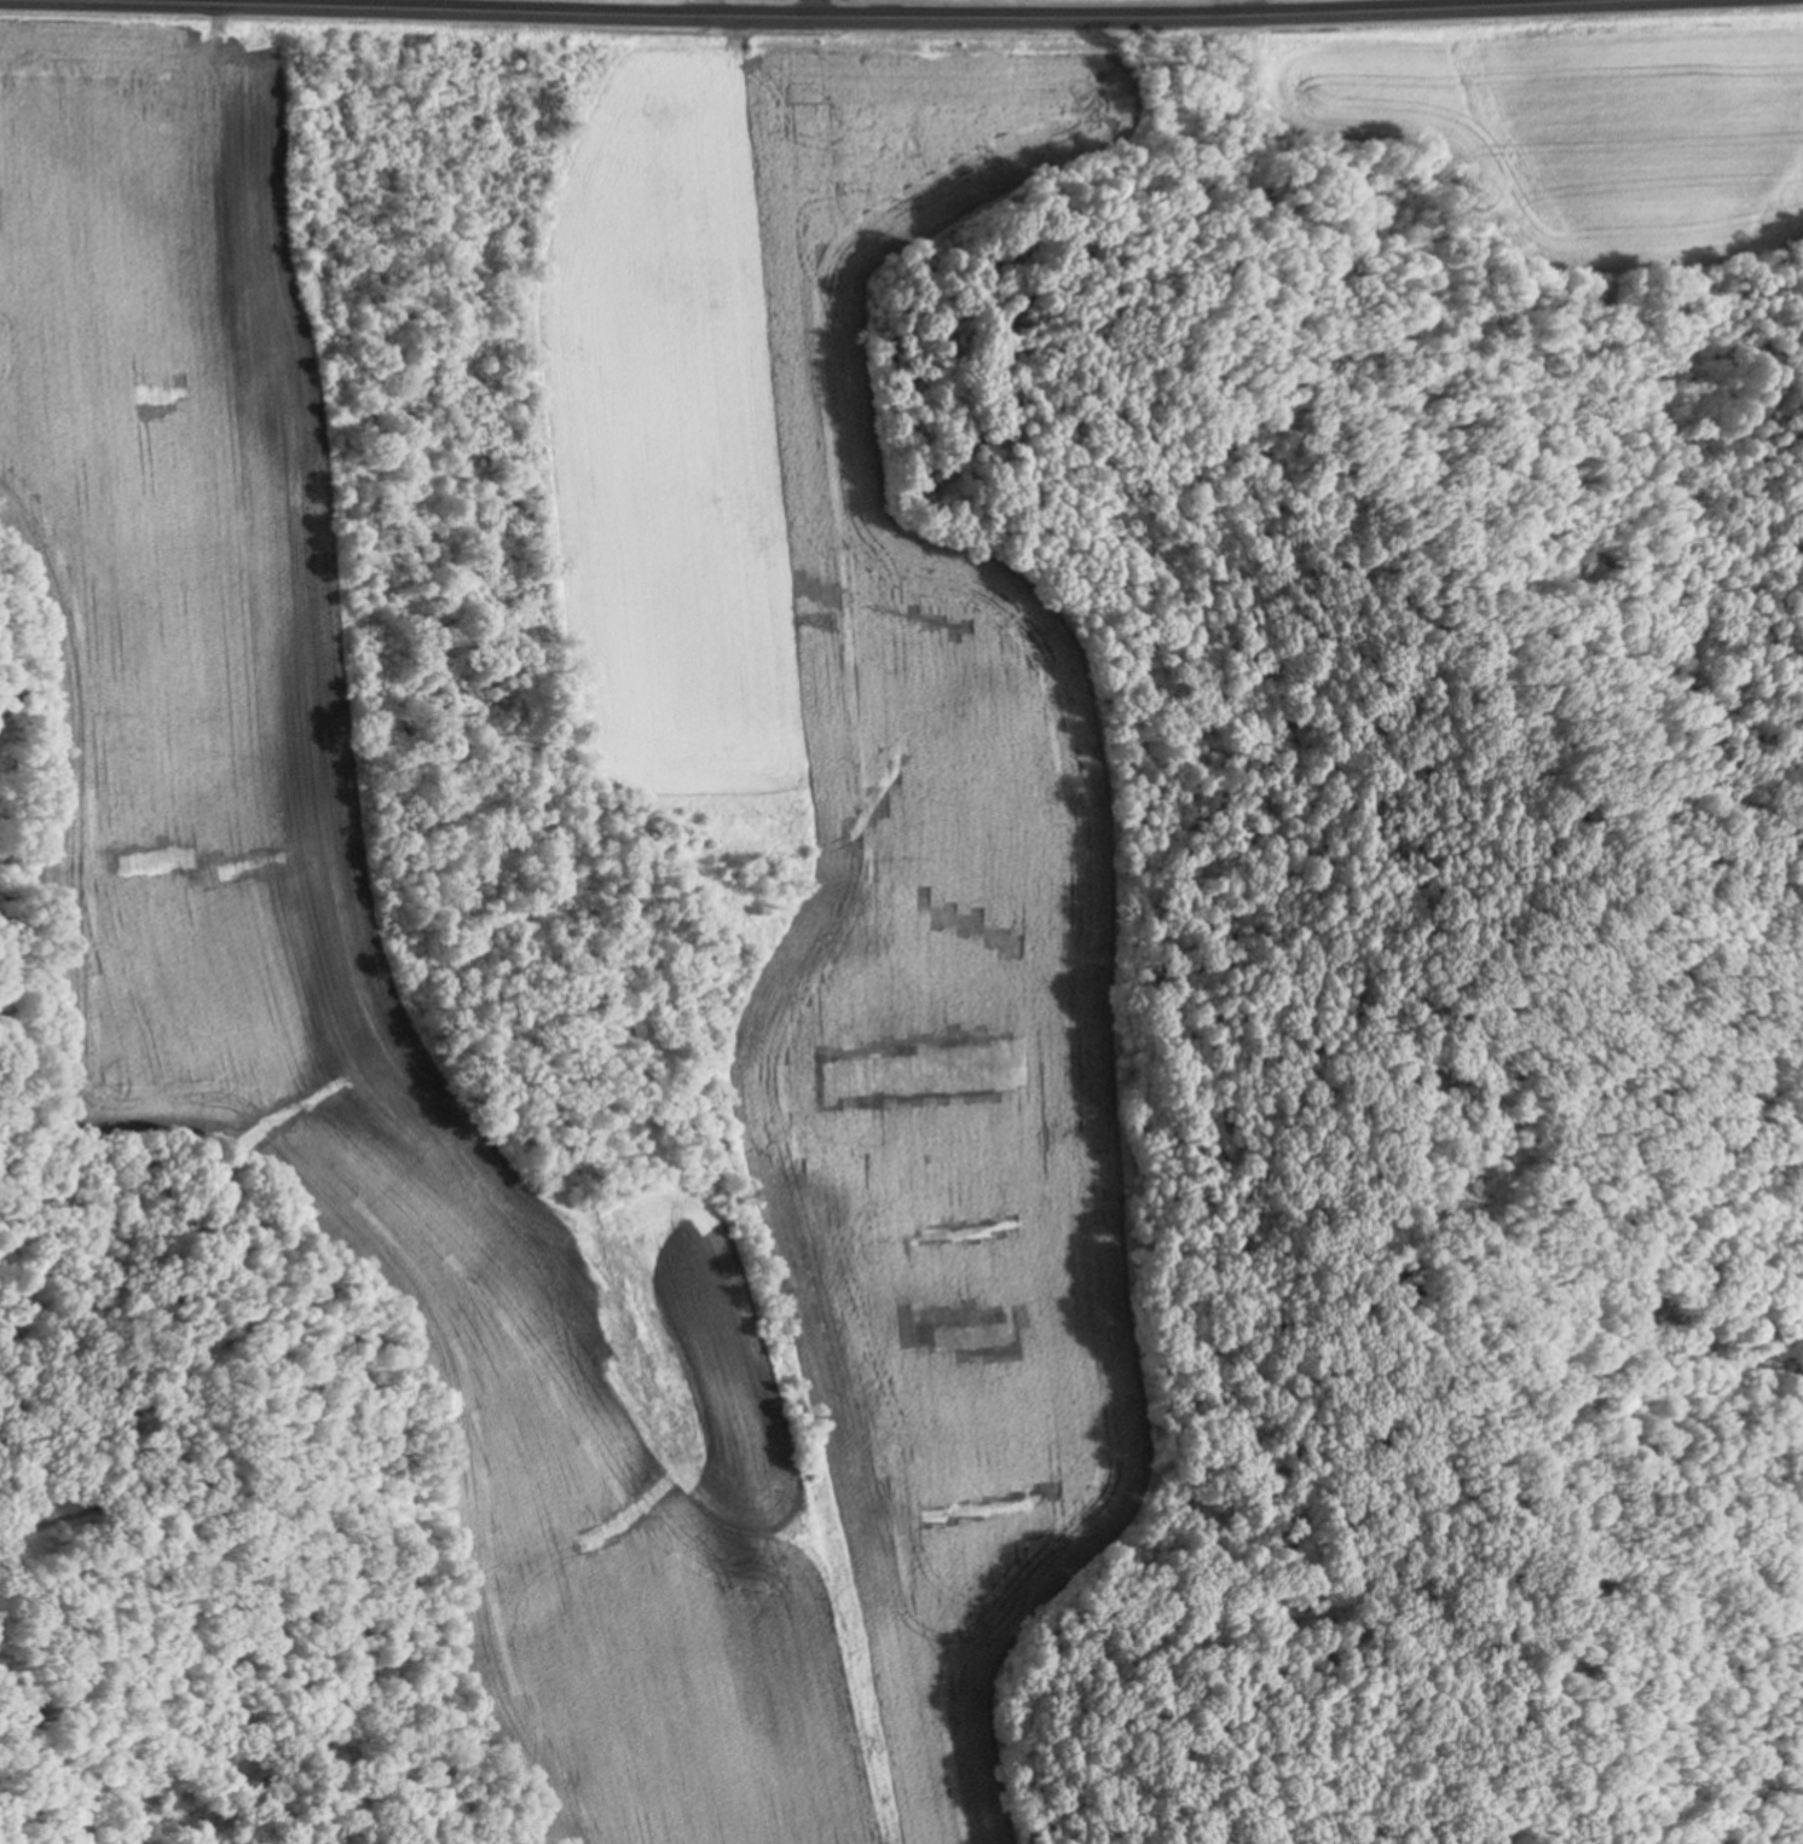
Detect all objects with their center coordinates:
road: (879, 4)
road: (751, 10)
crop: (1574, 111)
crop: (219, 959)

